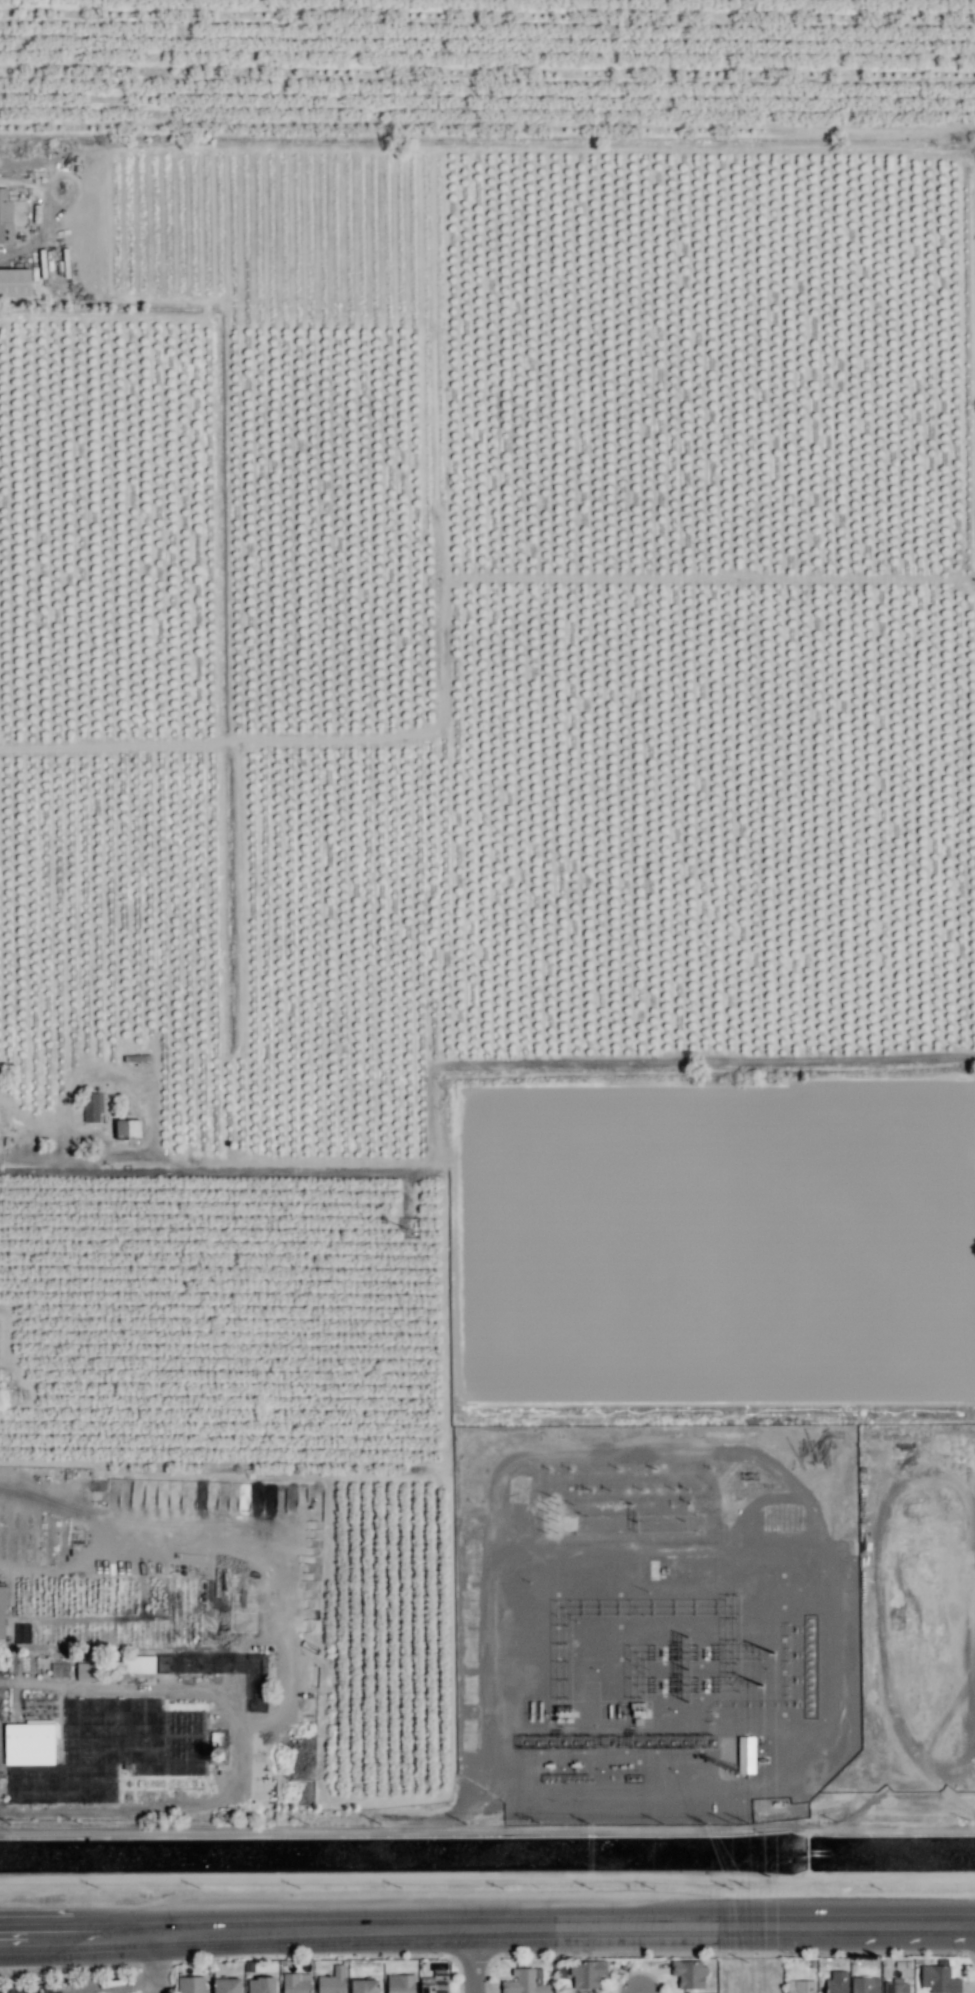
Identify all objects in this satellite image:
building: (5, 217)
building: (15, 283)
crop: (491, 814)
building: (92, 1107)
building: (128, 1130)
road: (70, 1160)
building: (1, 1612)
power substation: (657, 1617)
building: (22, 1632)
power tower: (776, 1654)
building: (178, 1663)
building: (139, 1664)
building: (86, 1670)
power tower: (766, 1687)
building: (30, 1742)
building: (745, 1754)
power tower: (771, 1878)
road: (492, 1926)
road: (5, 1934)
road: (5, 1938)
road: (5, 1941)
road: (477, 1960)
building: (586, 1973)
building: (689, 1973)
building: (939, 1979)
building: (333, 1981)
building: (525, 1981)
building: (837, 1982)
road: (135, 1983)
building: (296, 1983)
building: (400, 1983)
building: (435, 1983)
building: (191, 1984)
building: (227, 1985)
building: (261, 1985)
building: (865, 1985)
building: (364, 1986)
building: (800, 1986)
building: (895, 1986)
road: (155, 1988)

